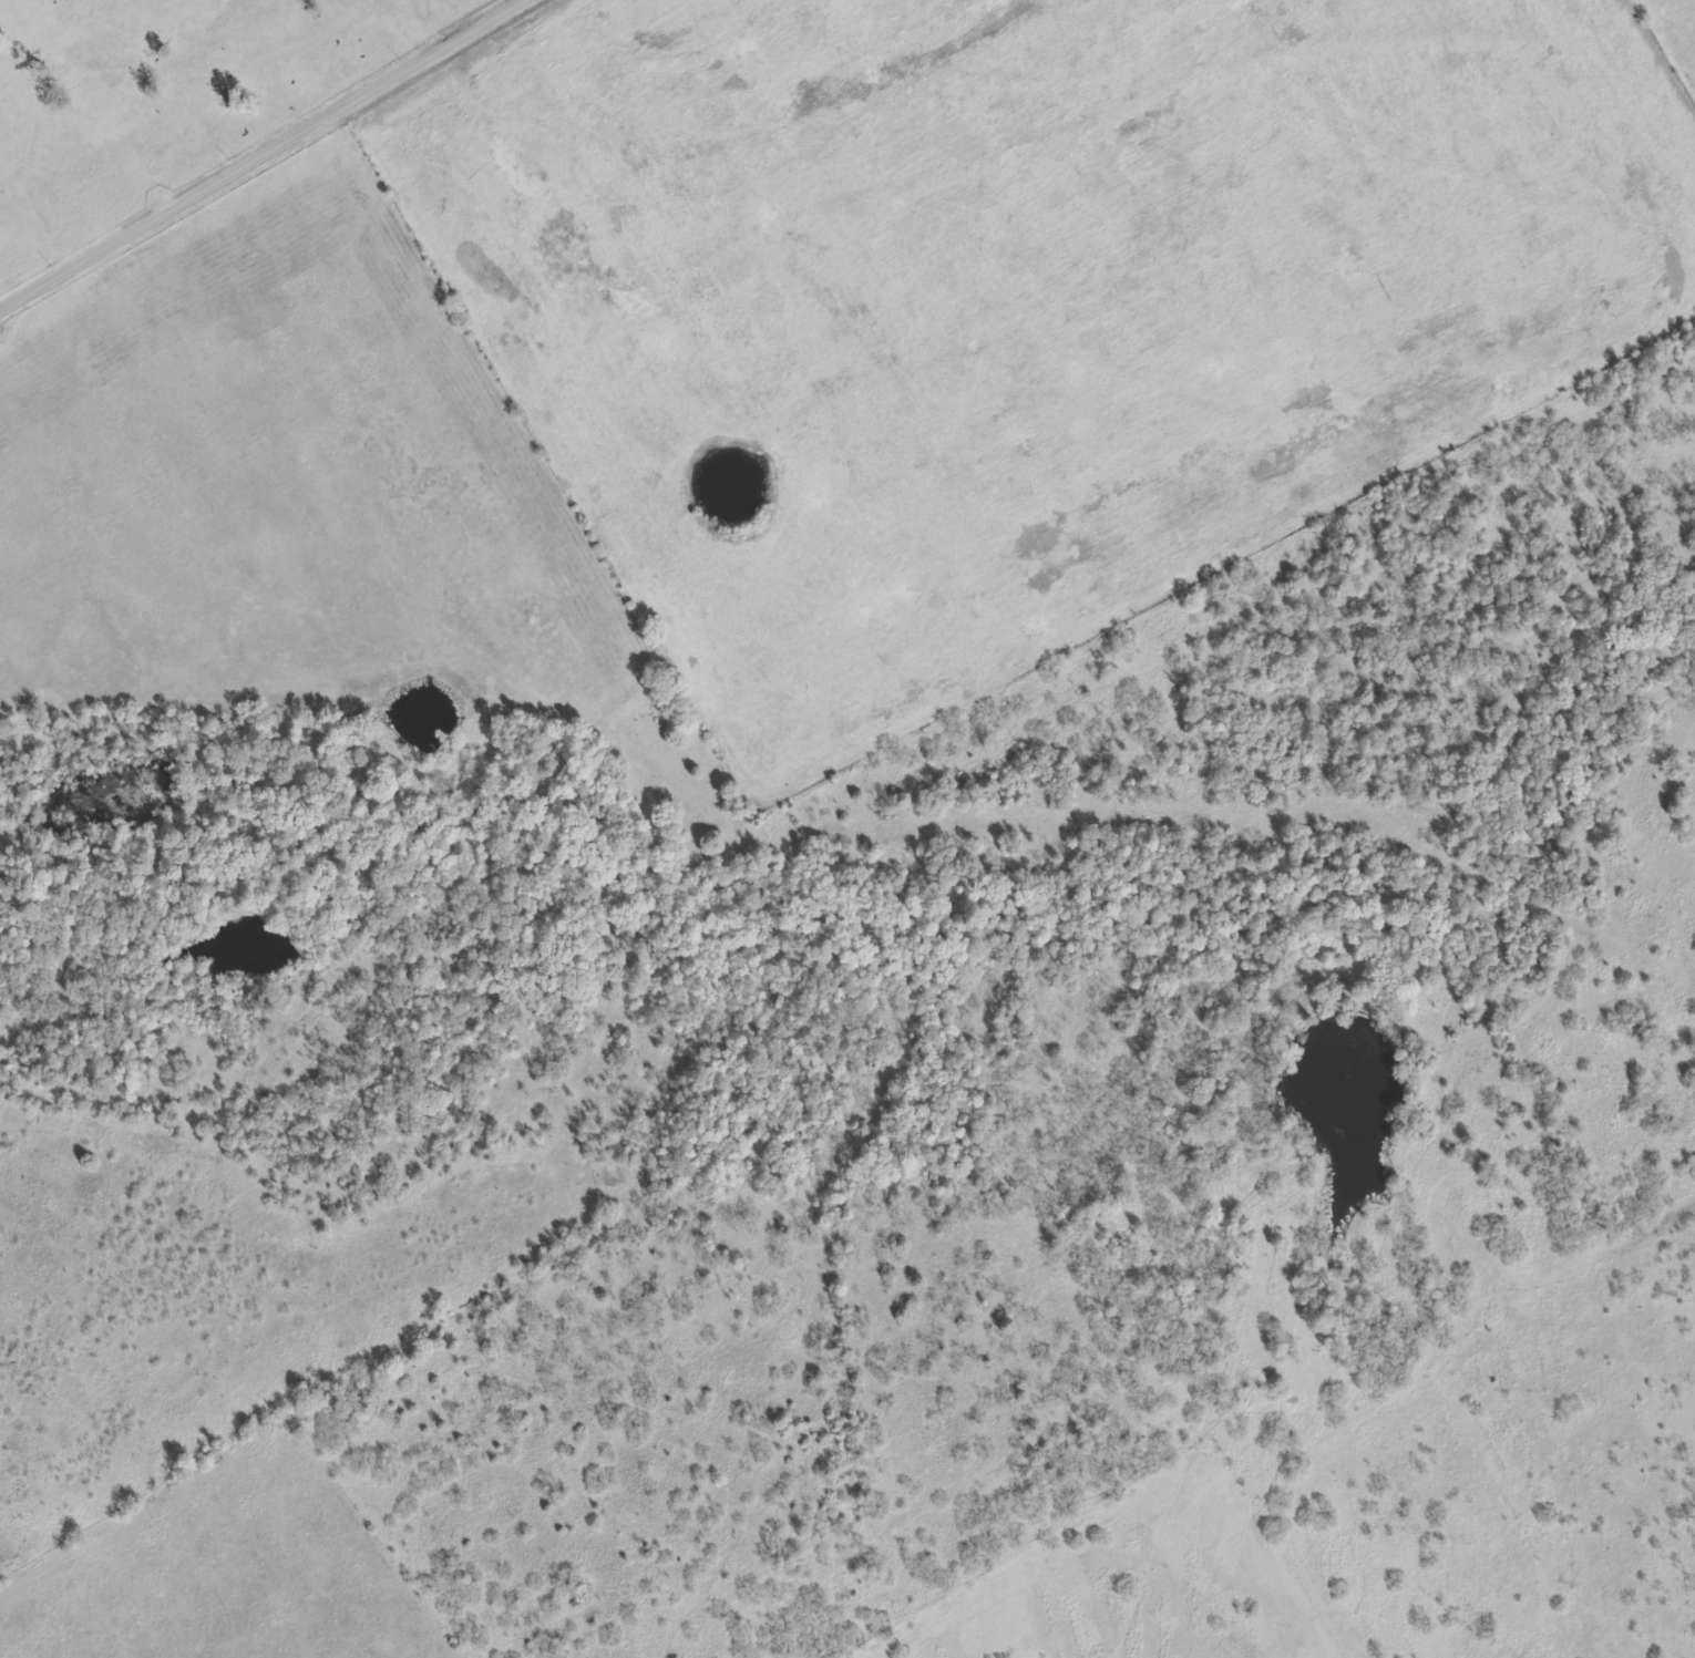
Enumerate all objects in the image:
road: (261, 154)

